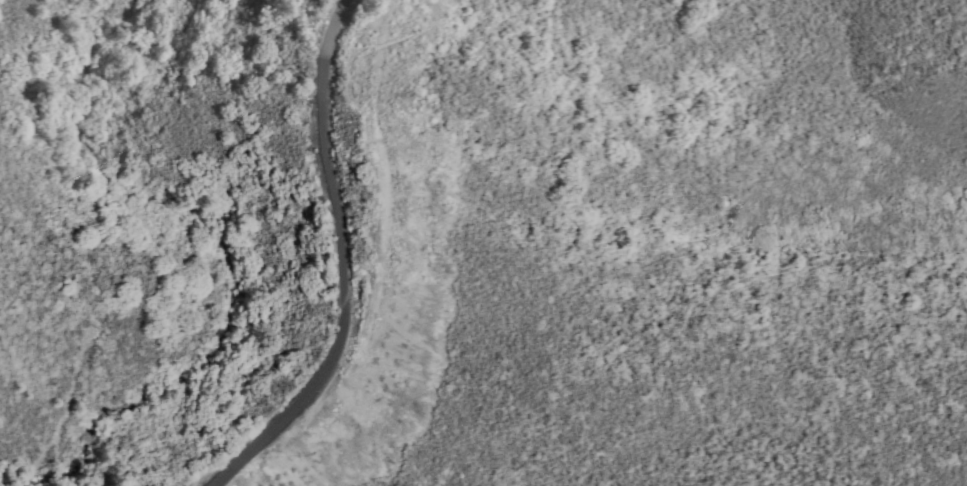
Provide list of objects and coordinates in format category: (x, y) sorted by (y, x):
road: (346, 268)

